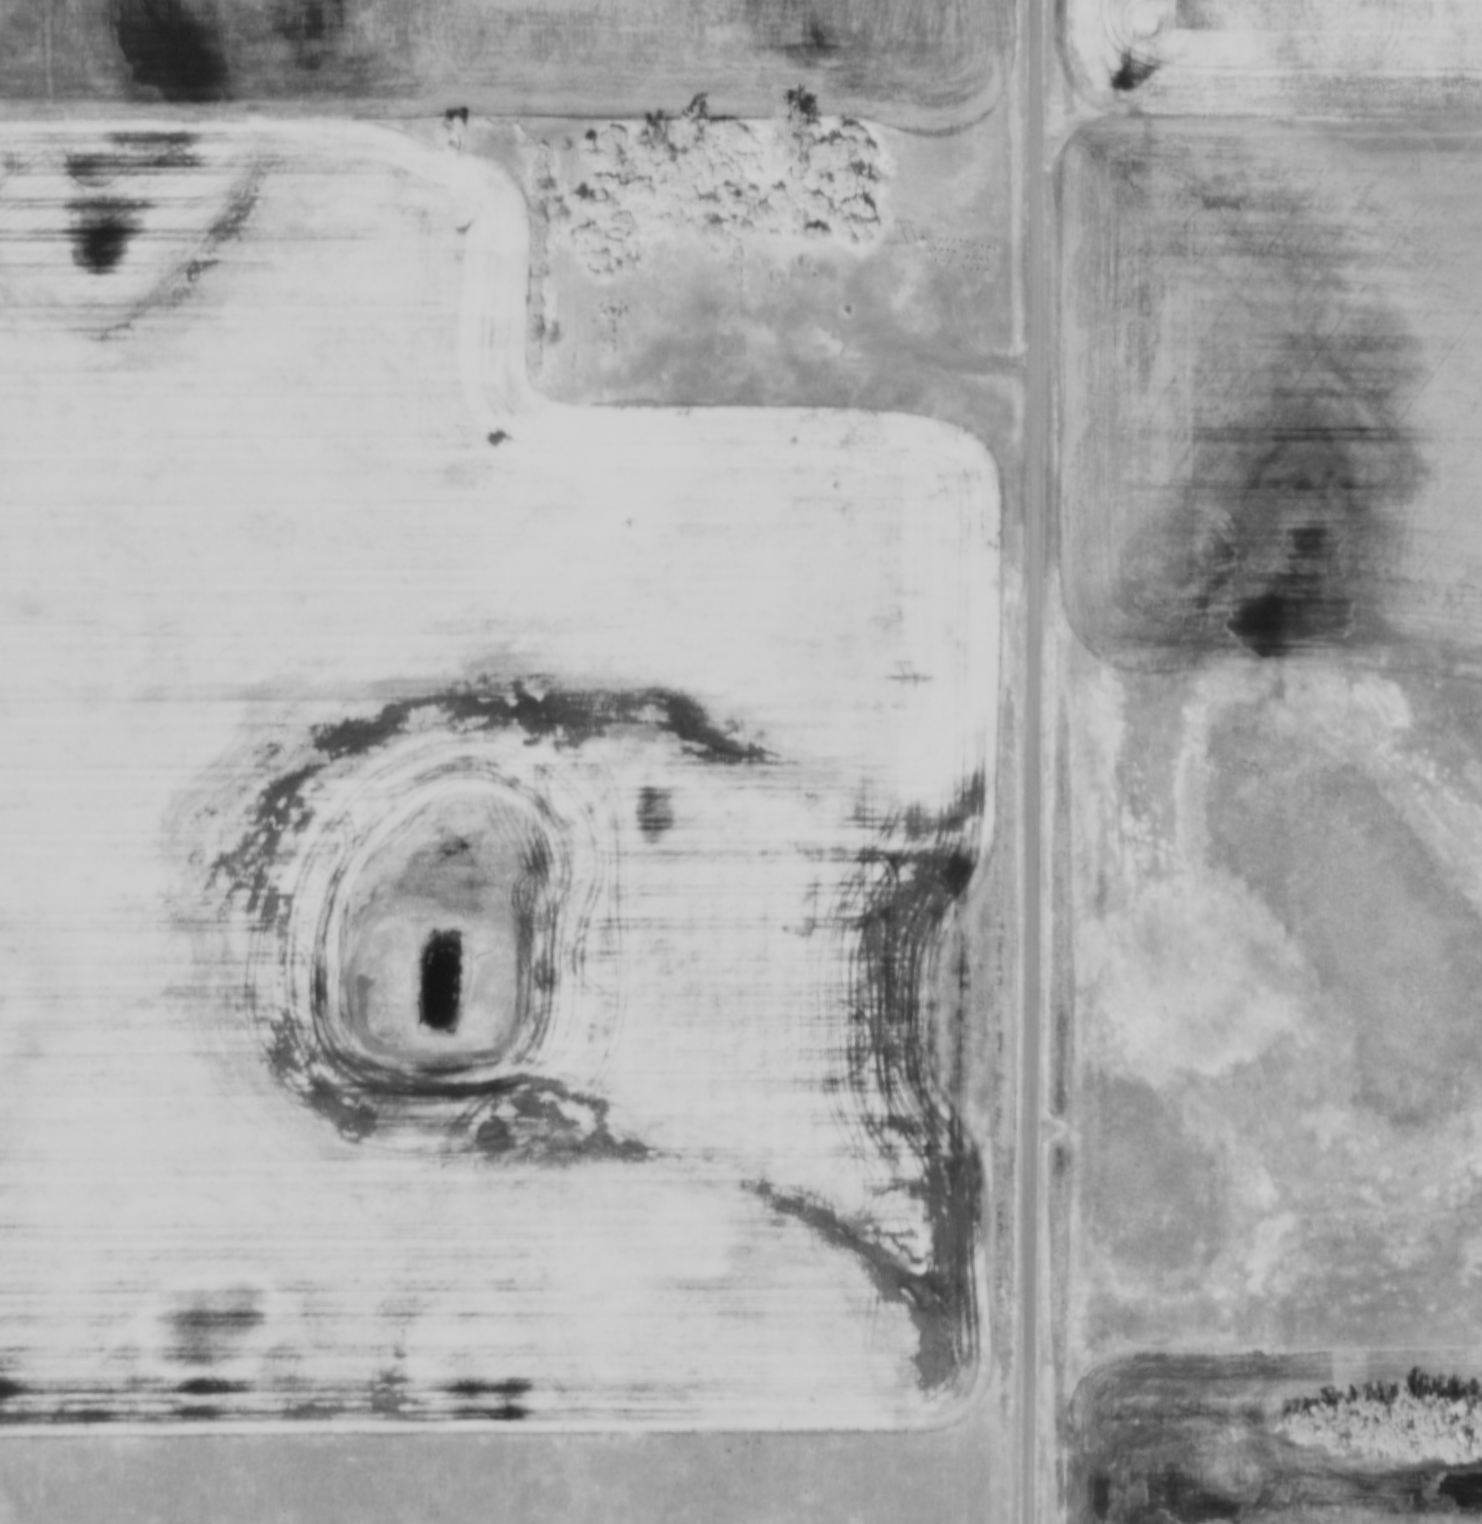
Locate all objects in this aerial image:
road: (1036, 762)

